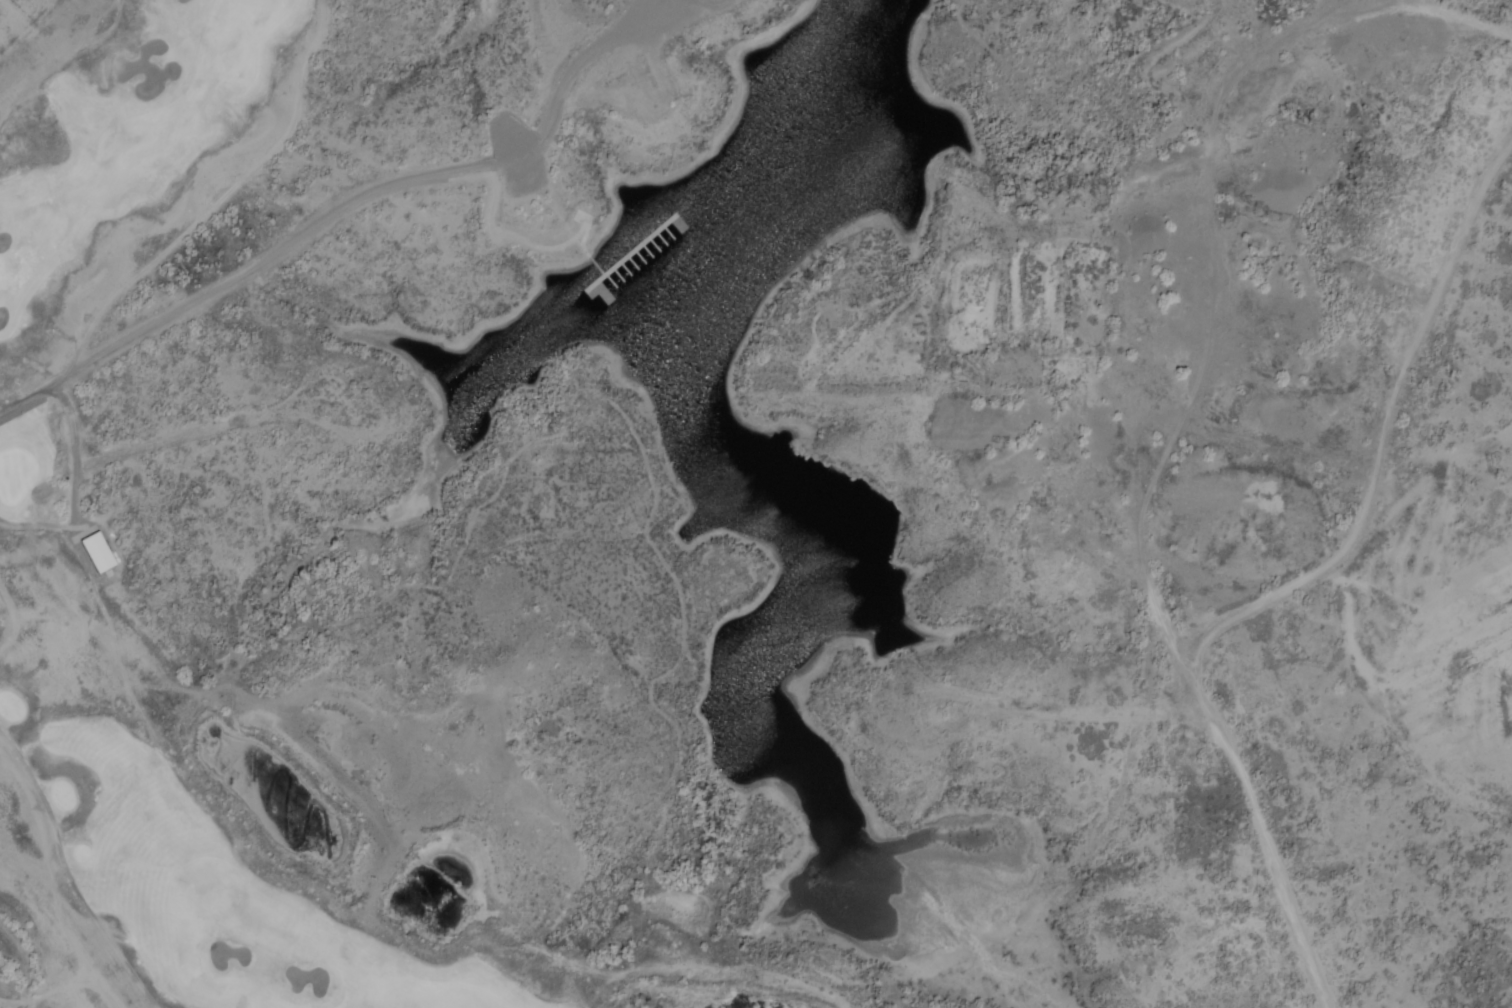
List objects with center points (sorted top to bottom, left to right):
road: (63, 65)
road: (343, 206)
park: (50, 491)
road: (43, 525)
building: (96, 553)
road: (12, 621)
road: (1262, 840)
road: (68, 875)

